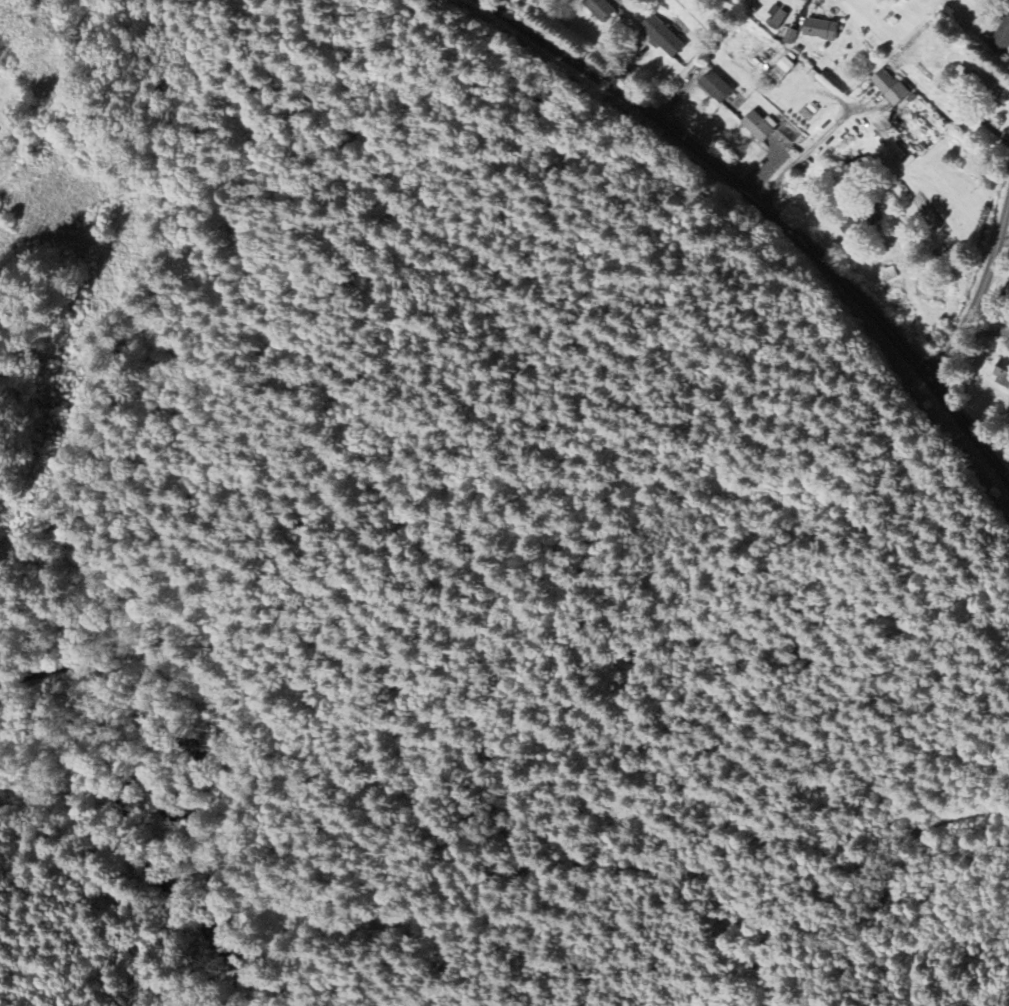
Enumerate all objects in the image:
building: (905, 0)
building: (599, 7)
building: (776, 17)
building: (818, 29)
building: (1000, 34)
building: (661, 36)
building: (789, 36)
building: (782, 69)
building: (977, 82)
building: (714, 86)
building: (889, 86)
building: (758, 125)
building: (853, 170)
road: (541, 184)
road: (769, 214)
road: (1004, 236)
road: (979, 298)
building: (1001, 373)
road: (153, 555)
road: (112, 640)
road: (973, 782)
road: (717, 861)
road: (874, 926)
road: (465, 940)
road: (928, 975)

